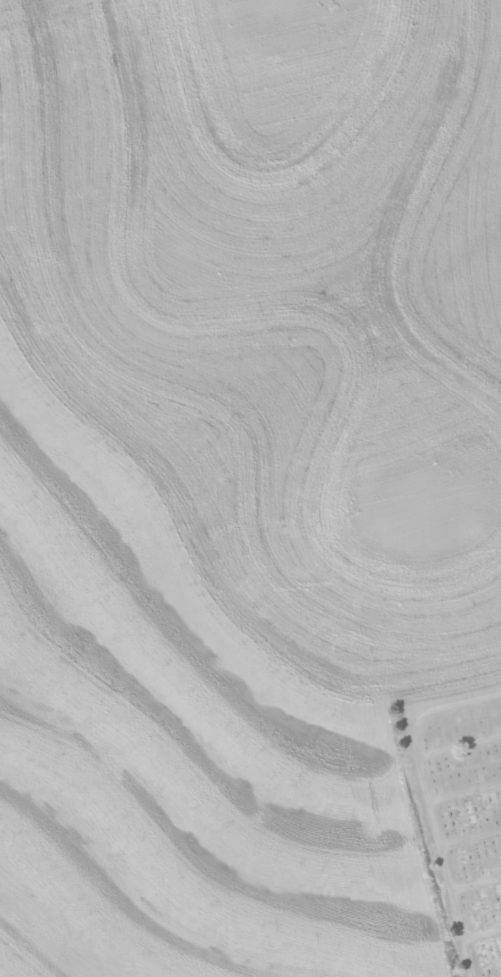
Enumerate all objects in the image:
road: (410, 797)
building: (473, 812)
park: (457, 816)
road: (479, 942)
building: (493, 948)
road: (459, 963)

